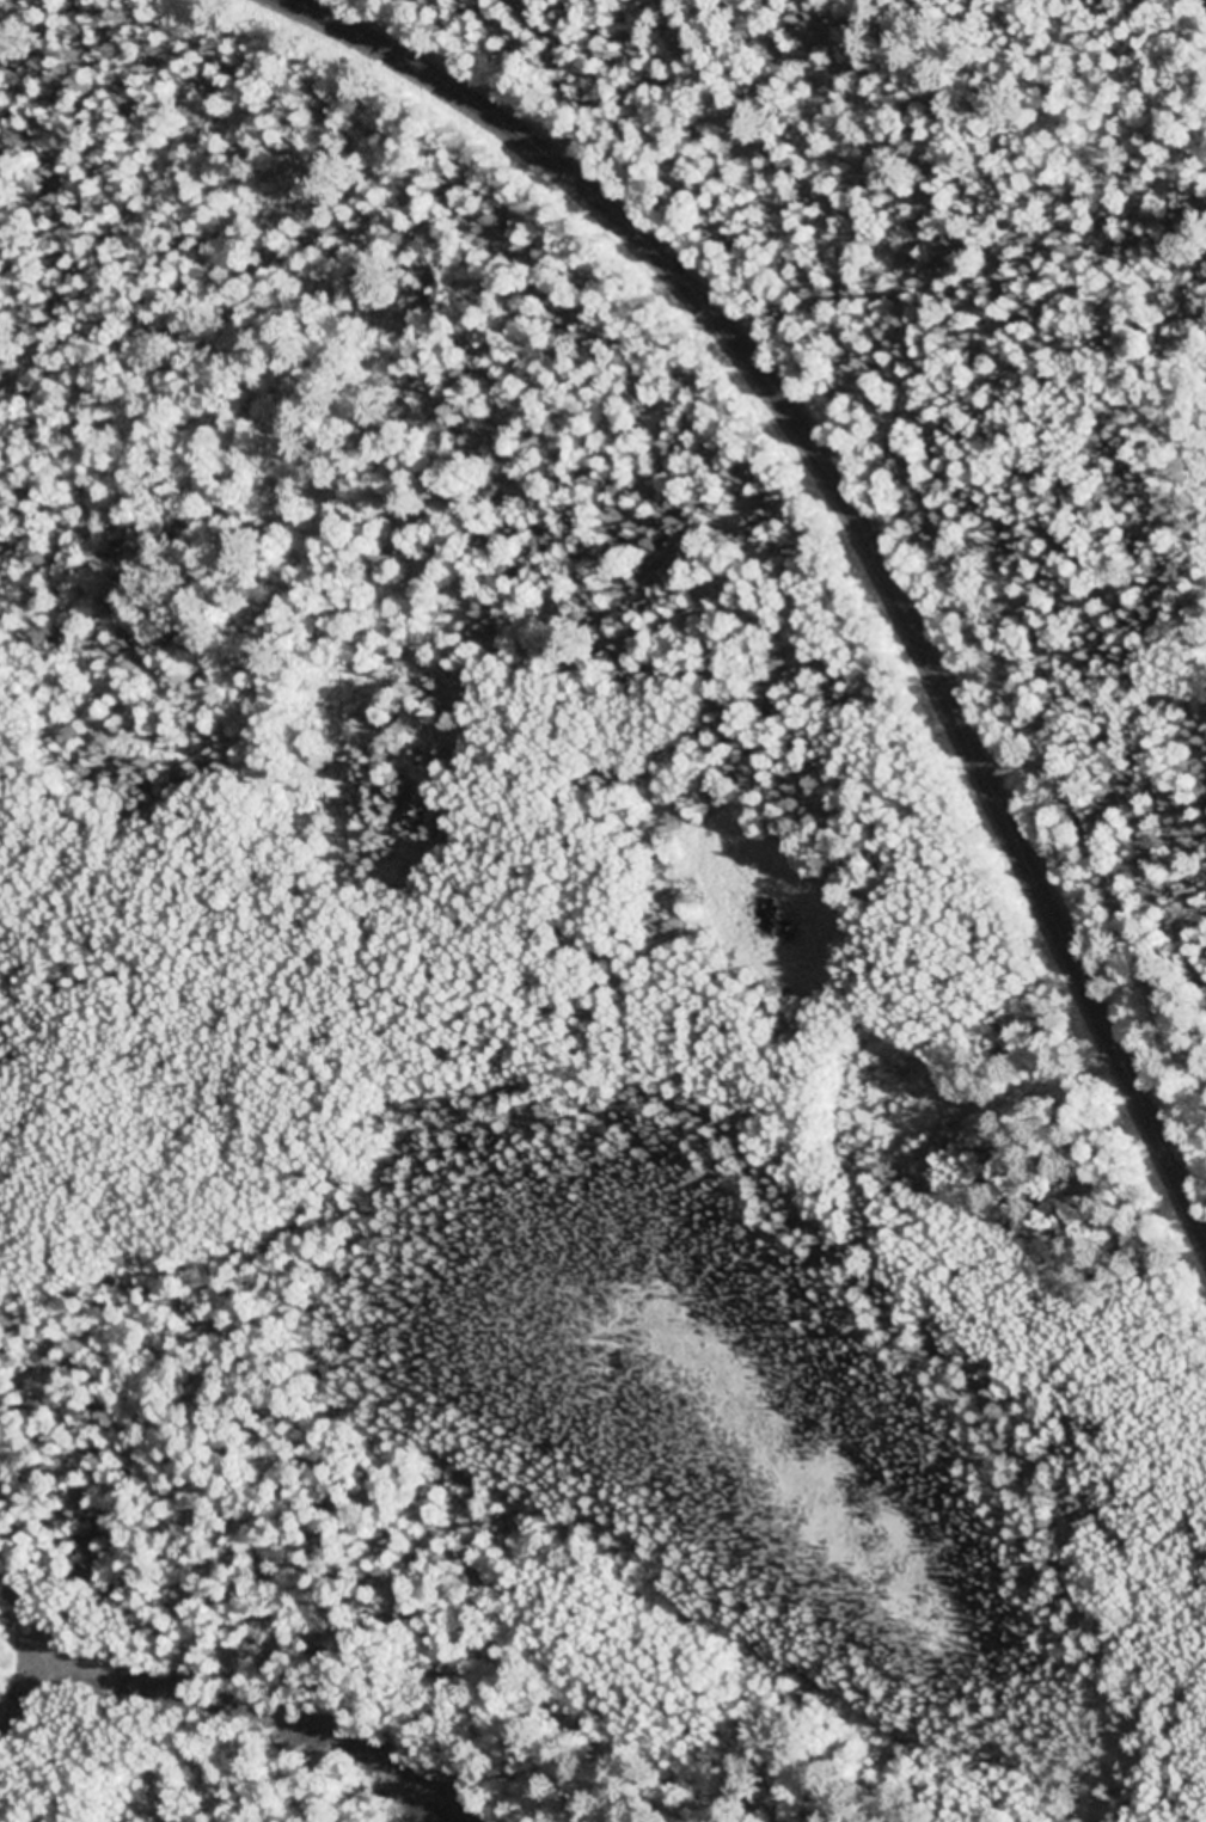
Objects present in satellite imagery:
road: (863, 530)

